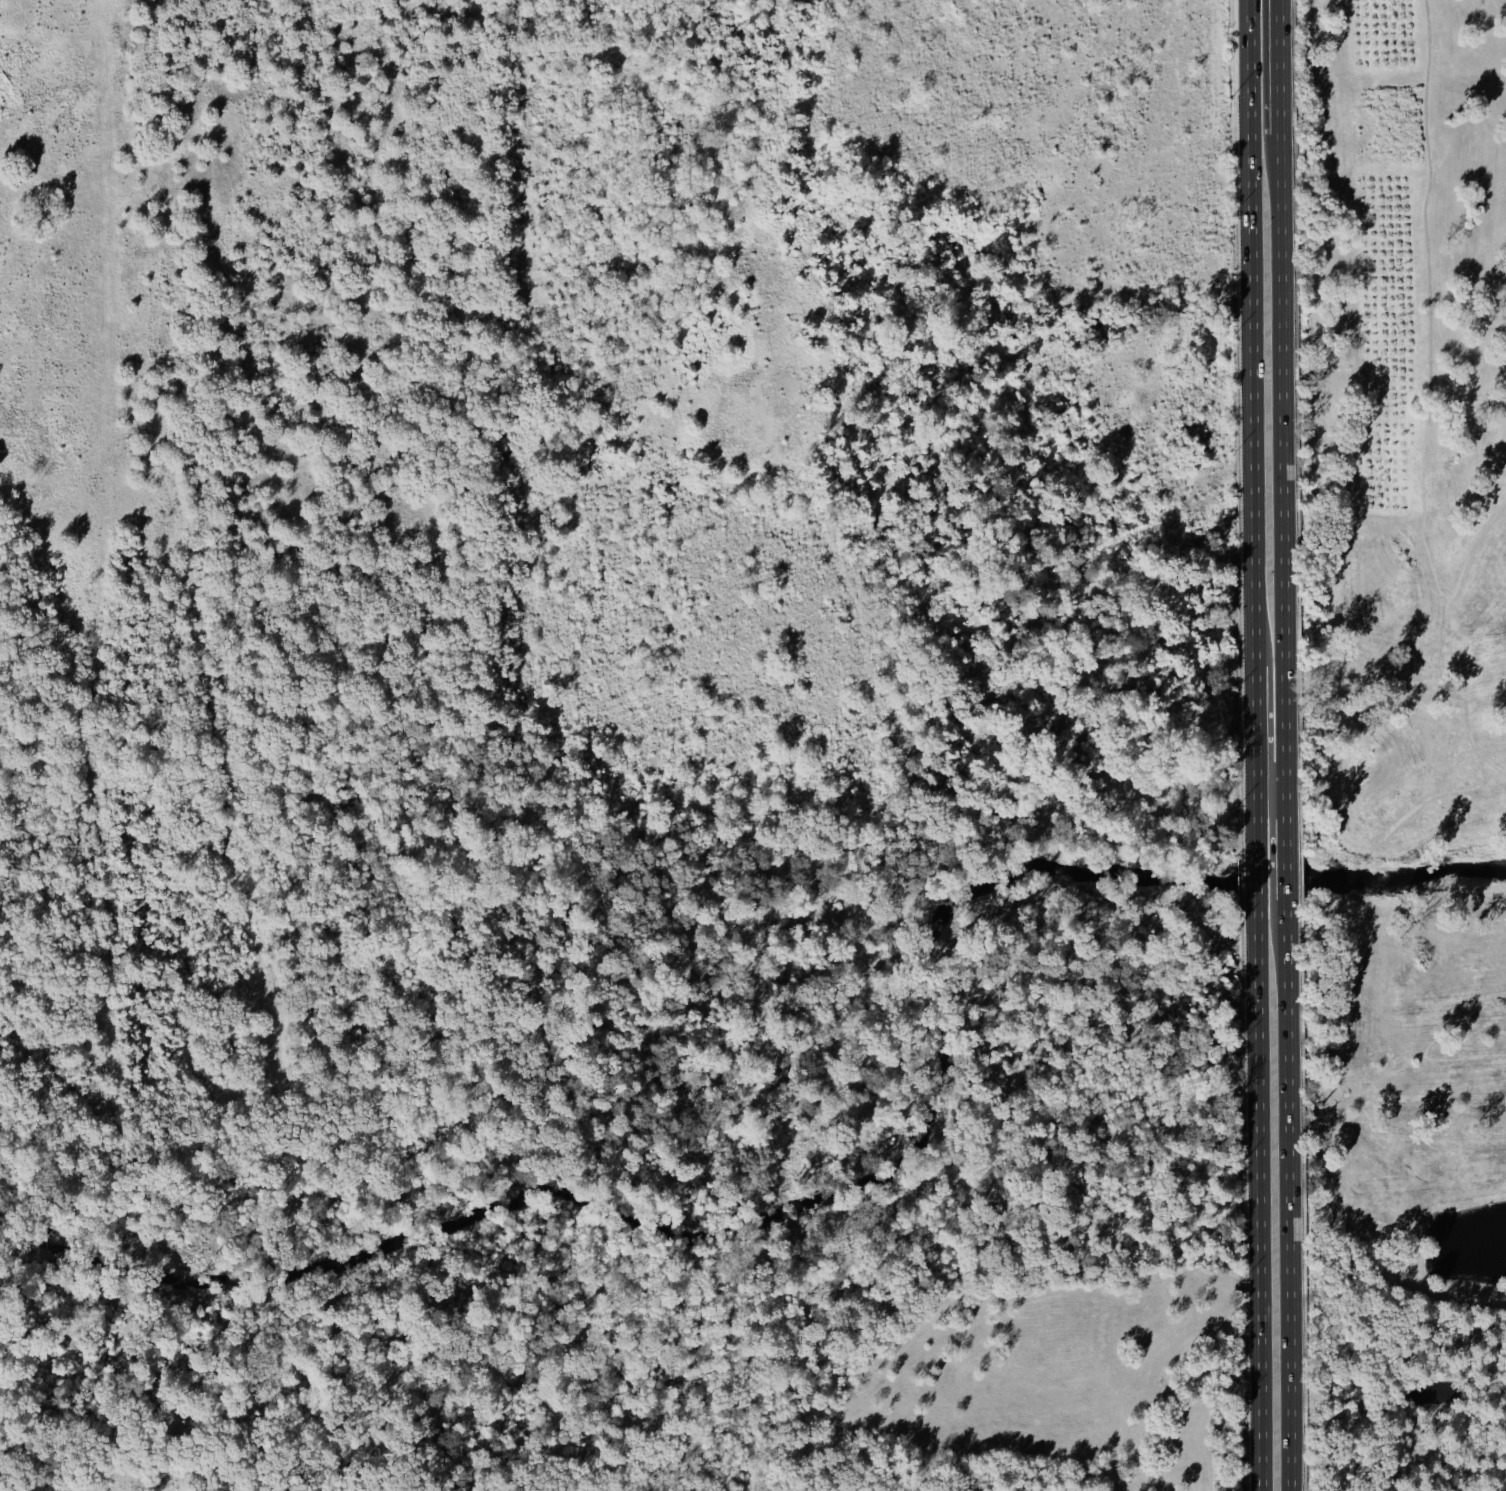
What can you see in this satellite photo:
road: (1274, 64)
road: (1248, 310)
road: (1431, 366)
road: (1277, 455)
road: (1472, 549)
park: (1376, 569)
park: (1411, 636)
road: (1251, 702)
park: (1402, 741)
road: (1477, 751)
park: (1385, 773)
road: (1266, 783)
road: (1469, 787)
road: (1422, 802)
road: (1252, 819)
road: (1280, 819)
road: (1354, 876)
road: (1252, 880)
road: (1280, 881)
road: (1281, 914)
road: (1358, 937)
park: (1439, 979)
road: (1428, 1046)
road: (1343, 1078)
park: (1393, 1189)
road: (1256, 1198)
road: (1285, 1206)

